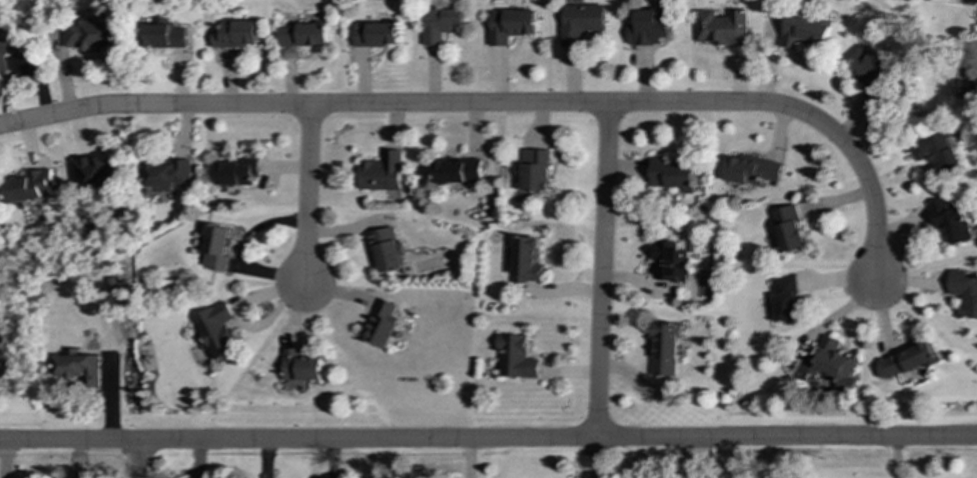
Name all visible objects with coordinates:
building: (969, 1)
building: (580, 21)
building: (440, 24)
building: (510, 25)
building: (648, 27)
building: (722, 27)
building: (804, 32)
building: (235, 34)
building: (375, 34)
building: (92, 35)
building: (304, 35)
building: (164, 36)
building: (10, 40)
road: (970, 48)
building: (868, 65)
building: (970, 89)
road: (497, 104)
building: (457, 170)
building: (751, 170)
building: (96, 171)
building: (532, 171)
building: (235, 172)
building: (381, 172)
building: (167, 173)
building: (672, 175)
building: (31, 186)
road: (306, 192)
building: (951, 221)
building: (788, 229)
building: (212, 245)
building: (385, 249)
building: (526, 260)
building: (671, 261)
road: (600, 290)
building: (964, 291)
building: (786, 299)
building: (381, 324)
building: (217, 330)
building: (665, 349)
building: (516, 357)
building: (906, 361)
building: (836, 363)
building: (299, 366)
building: (78, 368)
road: (488, 440)
road: (137, 459)

